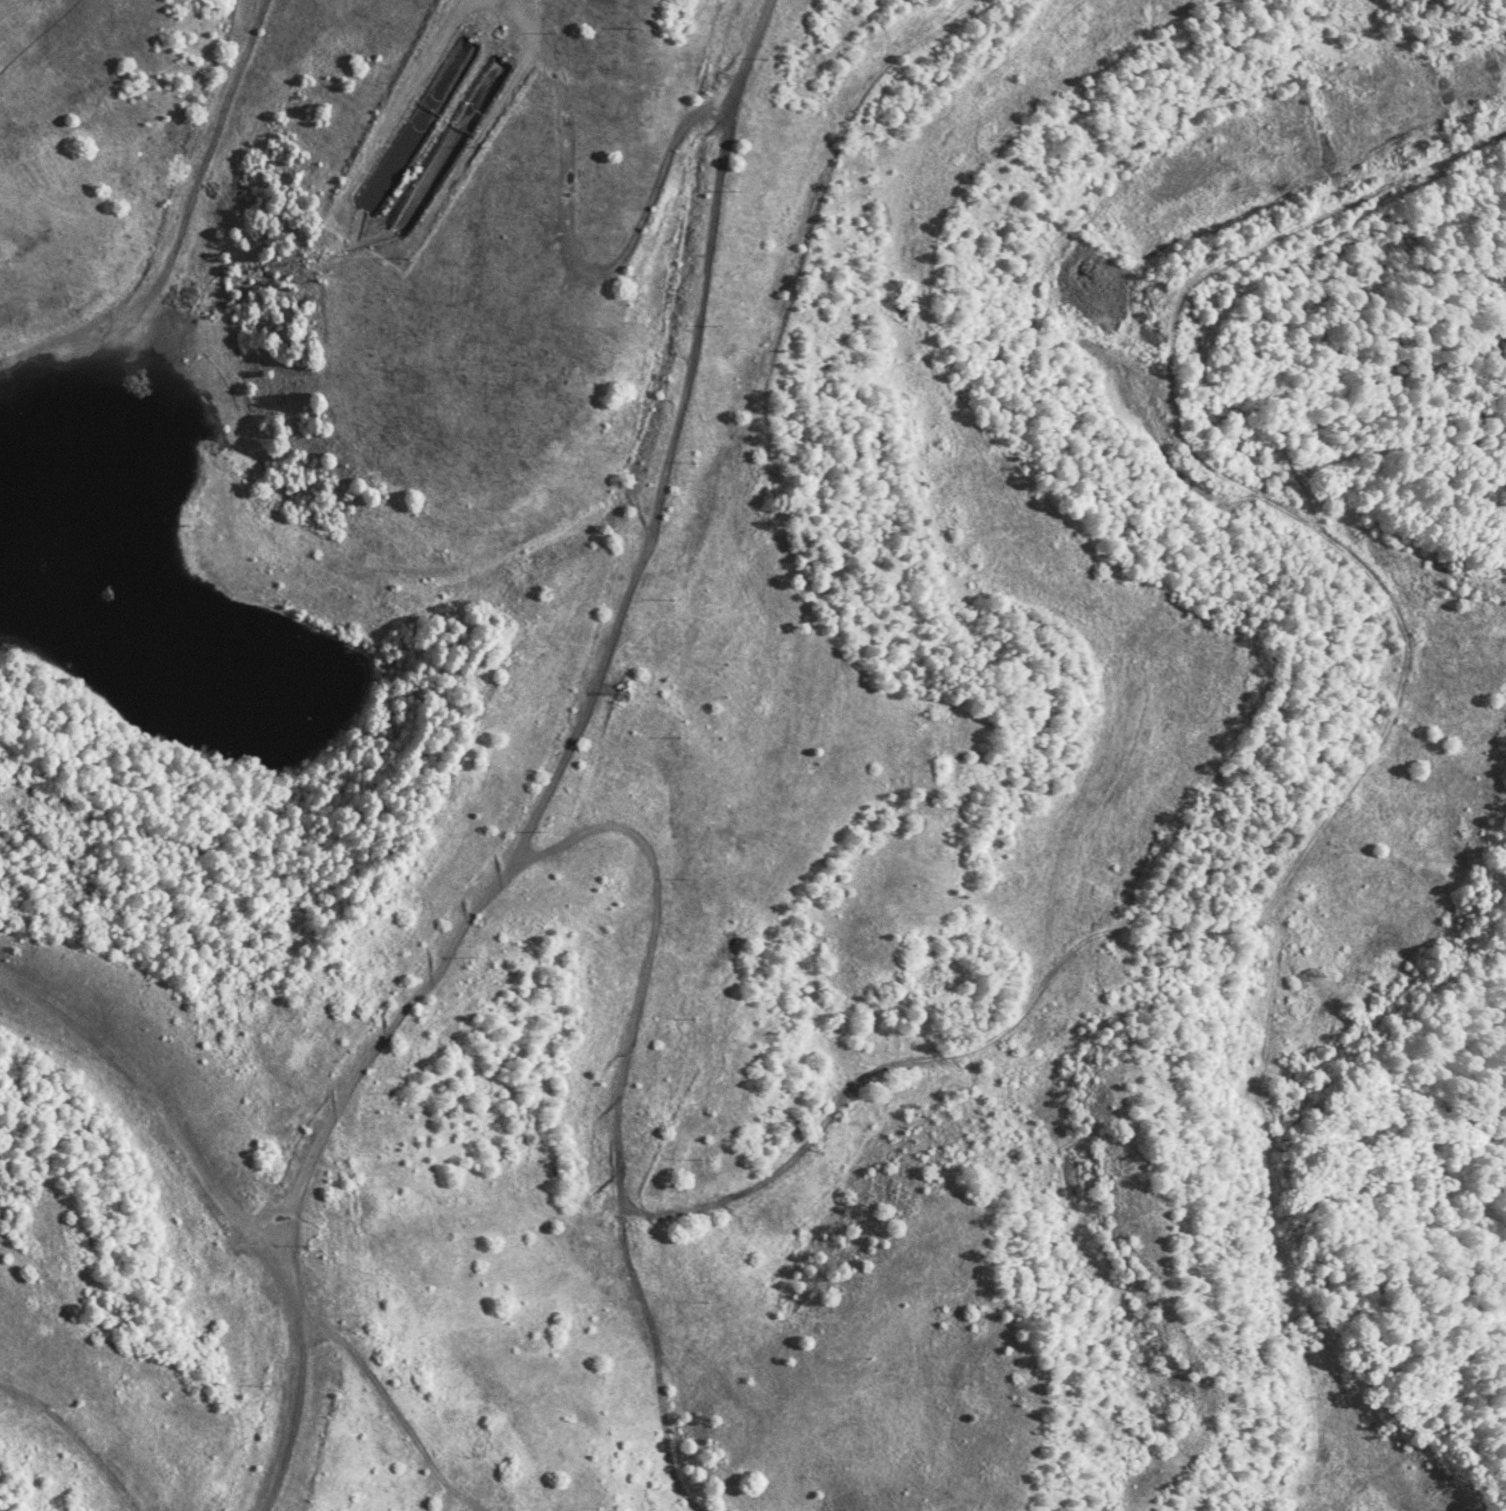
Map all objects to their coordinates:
quarry: (1431, 703)
quarry: (538, 757)

